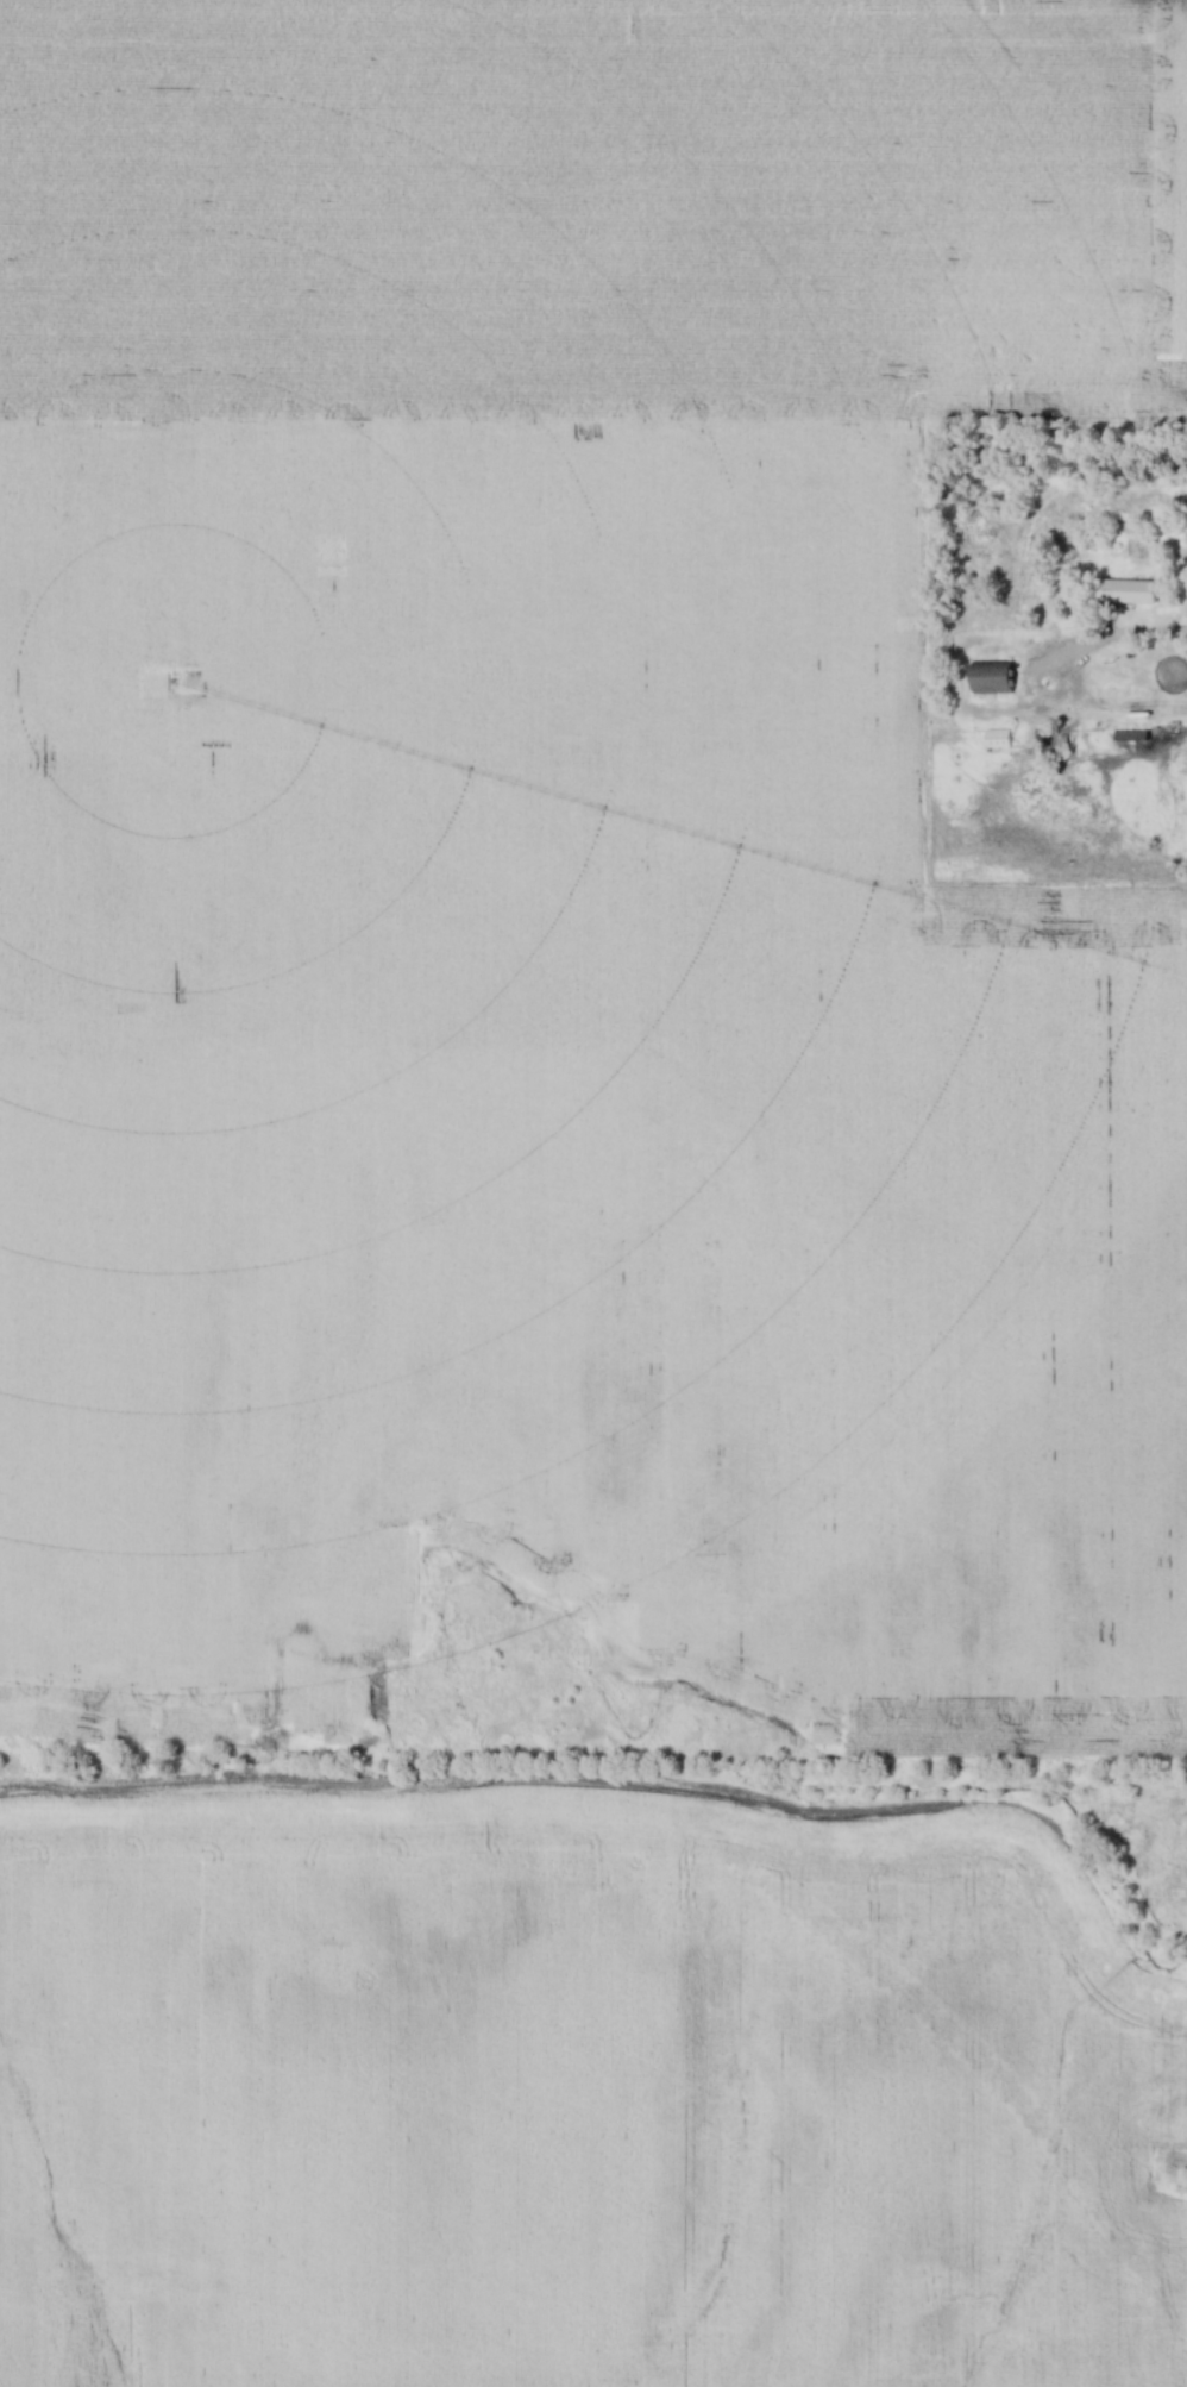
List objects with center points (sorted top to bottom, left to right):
building: (1131, 593)
road: (1101, 639)
building: (993, 677)
building: (1137, 698)
building: (1132, 735)

